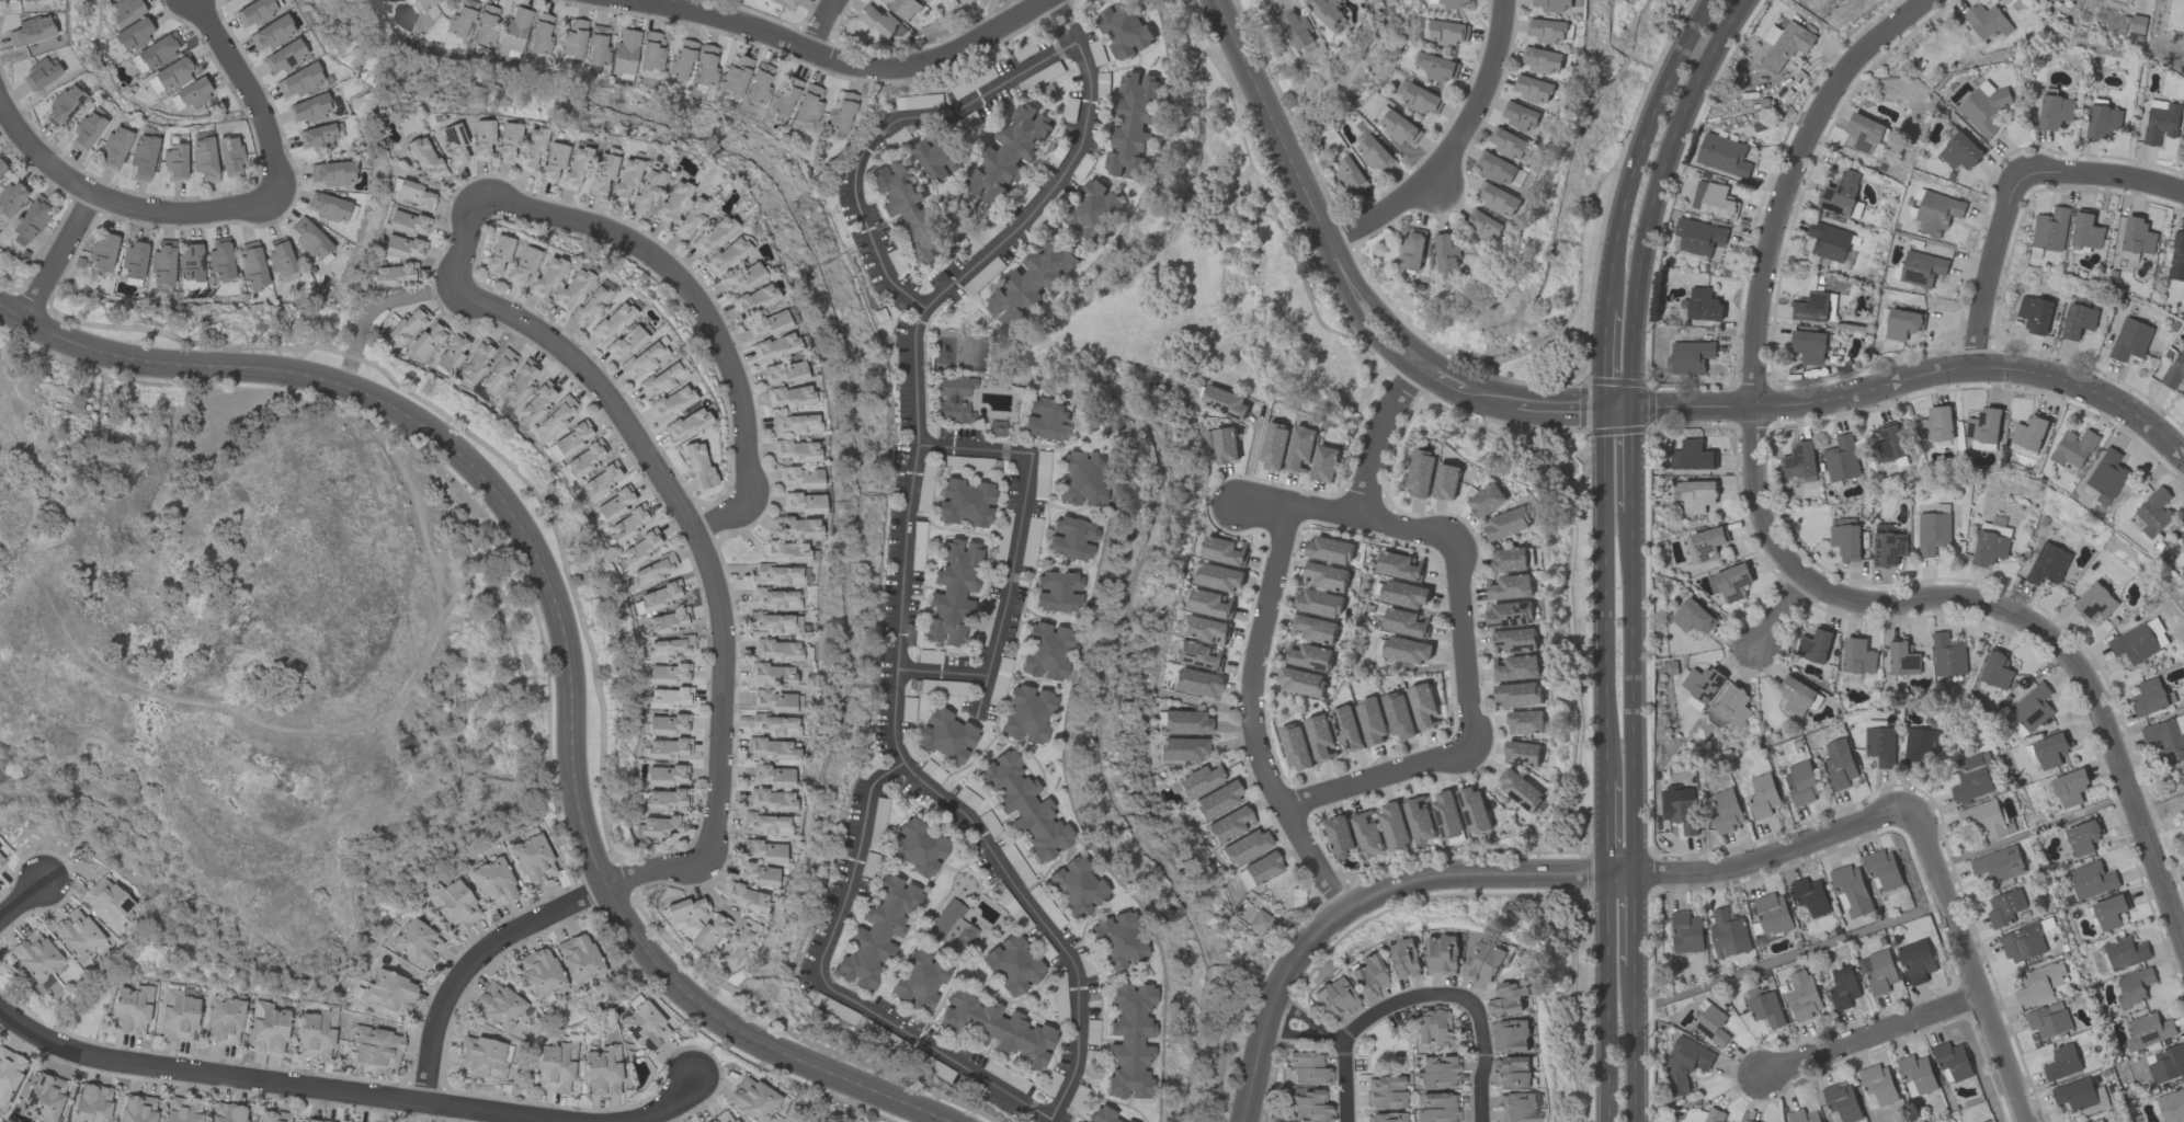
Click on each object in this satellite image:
road: (652, 2)
building: (1452, 2)
building: (786, 3)
building: (1554, 4)
building: (903, 8)
building: (127, 11)
building: (1327, 11)
building: (255, 12)
building: (460, 20)
building: (879, 20)
building: (1983, 20)
road: (826, 24)
building: (486, 26)
building: (2136, 26)
building: (1125, 28)
building: (1297, 28)
building: (515, 30)
building: (32, 31)
building: (1446, 32)
building: (134, 34)
building: (272, 34)
building: (541, 35)
building: (573, 38)
building: (1793, 38)
building: (596, 49)
building: (158, 51)
building: (626, 51)
building: (651, 53)
building: (284, 57)
building: (1543, 59)
building: (681, 60)
road: (840, 62)
building: (706, 66)
building: (1438, 68)
building: (174, 73)
building: (41, 75)
building: (736, 76)
building: (300, 81)
building: (760, 84)
building: (1533, 89)
building: (193, 93)
road: (251, 94)
building: (784, 96)
building: (1419, 99)
road: (969, 100)
building: (809, 104)
building: (64, 105)
building: (1984, 107)
building: (310, 108)
building: (842, 112)
building: (2055, 112)
building: (1520, 115)
building: (2160, 121)
building: (2103, 123)
building: (1134, 125)
building: (1398, 127)
building: (87, 129)
building: (317, 137)
building: (481, 138)
building: (507, 141)
building: (1508, 142)
building: (454, 144)
building: (115, 148)
building: (531, 149)
road: (1452, 149)
road: (1640, 149)
building: (1959, 151)
building: (2183, 151)
building: (1009, 153)
building: (1374, 153)
building: (937, 154)
building: (1722, 154)
building: (229, 156)
building: (143, 157)
building: (425, 158)
building: (204, 159)
building: (553, 162)
building: (175, 163)
building: (576, 167)
building: (2, 168)
building: (1497, 168)
building: (602, 172)
building: (332, 173)
building: (1350, 174)
building: (625, 179)
building: (647, 190)
road: (2010, 191)
building: (1839, 193)
road: (1303, 194)
building: (414, 195)
road: (1654, 196)
building: (11, 197)
building: (1499, 199)
building: (1713, 199)
road: (116, 202)
building: (671, 202)
building: (329, 208)
building: (1094, 210)
building: (907, 211)
building: (1937, 211)
building: (692, 217)
building: (30, 222)
building: (407, 222)
road: (1281, 225)
building: (1483, 225)
building: (2050, 229)
building: (2086, 230)
building: (713, 236)
road: (872, 236)
building: (1698, 236)
building: (2136, 238)
building: (310, 239)
road: (460, 239)
building: (1828, 241)
building: (402, 247)
building: (1412, 249)
building: (1446, 251)
building: (103, 253)
building: (497, 254)
building: (726, 255)
road: (1316, 255)
road: (57, 256)
building: (2176, 256)
building: (280, 257)
building: (134, 261)
building: (220, 261)
building: (163, 263)
building: (191, 263)
building: (252, 264)
building: (522, 264)
building: (1921, 268)
building: (393, 275)
building: (546, 277)
building: (742, 278)
building: (1032, 282)
road: (1220, 283)
park: (1233, 287)
building: (572, 288)
building: (753, 300)
building: (1702, 305)
building: (1810, 306)
building: (589, 307)
road: (372, 309)
road: (704, 312)
building: (2034, 313)
building: (2078, 320)
building: (613, 321)
building: (1902, 323)
building: (767, 324)
building: (406, 328)
building: (2130, 339)
building: (426, 342)
building: (625, 342)
building: (1809, 346)
building: (774, 347)
building: (452, 354)
building: (1690, 356)
building: (642, 359)
road: (1605, 360)
building: (476, 362)
building: (2175, 369)
building: (498, 371)
building: (783, 373)
road: (1442, 379)
building: (661, 380)
road: (1919, 380)
building: (520, 382)
building: (788, 397)
building: (953, 399)
building: (1224, 401)
road: (1488, 401)
building: (537, 402)
building: (670, 402)
road: (1560, 410)
road: (1617, 411)
traffic signals: (1629, 411)
traffic signals: (1605, 412)
building: (557, 417)
building: (1046, 420)
building: (686, 424)
building: (796, 424)
building: (1936, 424)
building: (1983, 425)
building: (2028, 433)
road: (1376, 434)
building: (572, 439)
building: (1888, 443)
building: (1221, 444)
building: (1982, 445)
building: (1273, 446)
building: (2073, 447)
building: (1299, 448)
building: (794, 451)
road: (1255, 453)
building: (1690, 455)
building: (1840, 458)
building: (585, 459)
building: (1799, 460)
road: (1629, 462)
building: (1324, 463)
building: (698, 465)
building: (1420, 472)
building: (2107, 476)
building: (800, 478)
building: (1081, 479)
building: (1446, 481)
building: (600, 482)
building: (1696, 495)
building: (1487, 500)
building: (804, 503)
building: (965, 503)
building: (614, 505)
road: (1346, 512)
building: (2154, 512)
building: (1508, 523)
building: (628, 524)
building: (797, 527)
building: (1932, 531)
building: (1070, 539)
building: (2182, 540)
building: (1845, 541)
building: (1991, 542)
building: (1704, 545)
building: (1888, 548)
building: (640, 549)
building: (1330, 549)
building: (1222, 550)
building: (785, 551)
road: (1013, 554)
road: (905, 559)
building: (1512, 559)
road: (1783, 560)
building: (2047, 563)
building: (1399, 565)
building: (655, 571)
road: (710, 572)
building: (778, 575)
building: (1218, 576)
building: (1327, 576)
building: (1729, 582)
building: (1510, 587)
building: (1056, 592)
road: (1566, 592)
building: (952, 593)
building: (1403, 594)
road: (1604, 595)
building: (660, 596)
building: (775, 598)
building: (2094, 602)
building: (1208, 603)
building: (1510, 612)
road: (1782, 615)
building: (1692, 617)
road: (559, 622)
building: (667, 622)
building: (774, 622)
building: (1406, 622)
building: (1204, 629)
building: (1315, 629)
road: (432, 636)
building: (1513, 640)
road: (1464, 642)
building: (2132, 643)
building: (1815, 645)
building: (671, 648)
building: (1407, 650)
building: (778, 651)
building: (1046, 652)
building: (1198, 655)
building: (1309, 655)
building: (1857, 655)
building: (1947, 655)
building: (1902, 657)
building: (1517, 667)
building: (1995, 671)
building: (668, 674)
building: (771, 674)
building: (1300, 682)
building: (1196, 683)
building: (1702, 683)
road: (982, 694)
building: (1517, 694)
road: (1633, 694)
building: (1795, 695)
building: (2150, 697)
building: (669, 698)
building: (773, 701)
building: (1422, 705)
building: (1732, 705)
building: (2029, 709)
building: (1026, 714)
building: (1398, 715)
road: (1254, 718)
building: (1370, 721)
building: (1525, 721)
building: (1187, 723)
building: (668, 725)
building: (774, 725)
building: (1345, 729)
building: (1319, 736)
building: (2166, 736)
building: (945, 737)
building: (1921, 742)
building: (1880, 745)
building: (1295, 746)
building: (668, 748)
building: (1183, 748)
building: (770, 749)
building: (2049, 749)
building: (1522, 753)
building: (1839, 764)
building: (666, 776)
road: (1378, 776)
building: (773, 777)
building: (1972, 777)
building: (1199, 780)
building: (1800, 782)
building: (1520, 788)
building: (2069, 788)
building: (1762, 795)
park: (2166, 797)
building: (666, 799)
building: (770, 800)
road: (2157, 800)
building: (1217, 801)
building: (1023, 809)
building: (1472, 809)
building: (1679, 811)
building: (1726, 811)
building: (1446, 814)
building: (1986, 818)
building: (1419, 820)
building: (766, 824)
building: (1230, 825)
building: (1394, 825)
road: (1604, 826)
building: (660, 827)
building: (1366, 833)
building: (1339, 836)
building: (2082, 837)
building: (1245, 847)
building: (917, 848)
building: (764, 851)
building: (2, 859)
building: (533, 860)
building: (1998, 863)
road: (851, 865)
road: (1584, 869)
building: (1259, 870)
building: (1882, 870)
road: (1508, 872)
building: (754, 874)
building: (2091, 879)
building: (493, 883)
building: (1851, 890)
building: (1074, 891)
building: (1810, 895)
road: (21, 897)
building: (744, 897)
building: (107, 903)
building: (455, 905)
building: (2004, 906)
building: (685, 911)
building: (2108, 912)
building: (1772, 915)
building: (1260, 923)
road: (1634, 923)
building: (952, 926)
building: (1685, 931)
building: (877, 932)
building: (77, 934)
building: (708, 934)
building: (1728, 934)
building: (418, 942)
building: (2023, 942)
building: (1117, 946)
building: (2125, 952)
building: (1443, 954)
building: (35, 955)
building: (578, 959)
building: (1403, 959)
road: (473, 960)
building: (1483, 961)
building: (1915, 961)
building: (1012, 965)
road: (1968, 965)
building: (539, 972)
building: (1880, 972)
building: (1367, 978)
building: (919, 980)
building: (2039, 983)
building: (2134, 986)
building: (1842, 987)
building: (390, 993)
building: (1800, 995)
building: (1508, 997)
building: (1336, 998)
road: (1605, 998)
road: (1568, 1001)
building: (498, 1006)
street lamp: (1456, 1008)
building: (1765, 1009)
building: (132, 1010)
building: (178, 1017)
road: (1364, 1019)
building: (2048, 1019)
building: (224, 1021)
building: (1711, 1024)
building: (644, 1026)
building: (1432, 1026)
building: (268, 1029)
building: (997, 1029)
building: (2147, 1030)
building: (1510, 1034)
building: (316, 1035)
road: (1870, 1037)
building: (1129, 1044)
road: (932, 1045)
building: (377, 1046)
road: (1634, 1046)
park: (1386, 1049)
road: (1483, 1055)
building: (480, 1057)
building: (1685, 1062)
building: (1952, 1062)
building: (2061, 1062)
building: (2166, 1064)
building: (556, 1068)
building: (1308, 1068)
building: (9, 1072)
building: (602, 1072)
building: (1513, 1072)
building: (1438, 1073)
building: (1915, 1074)
road: (1343, 1080)
road: (281, 1081)
street lamp: (1465, 1087)
building: (1386, 1092)
building: (2080, 1096)
building: (44, 1098)
building: (751, 1100)
building: (1841, 1102)
building: (92, 1103)
building: (1310, 1106)
building: (2171, 1106)
building: (1517, 1107)
road: (660, 1108)
building: (1438, 1108)
building: (138, 1109)
building: (183, 1110)
building: (228, 1113)
building: (1714, 1115)
building: (1802, 1115)
building: (273, 1117)
building: (1101, 1117)
building: (723, 1118)
building: (1387, 1118)
building: (310, 1120)
building: (2097, 1120)
building: (1125, 1121)
building: (1747, 1121)
building: (1990, 1121)

